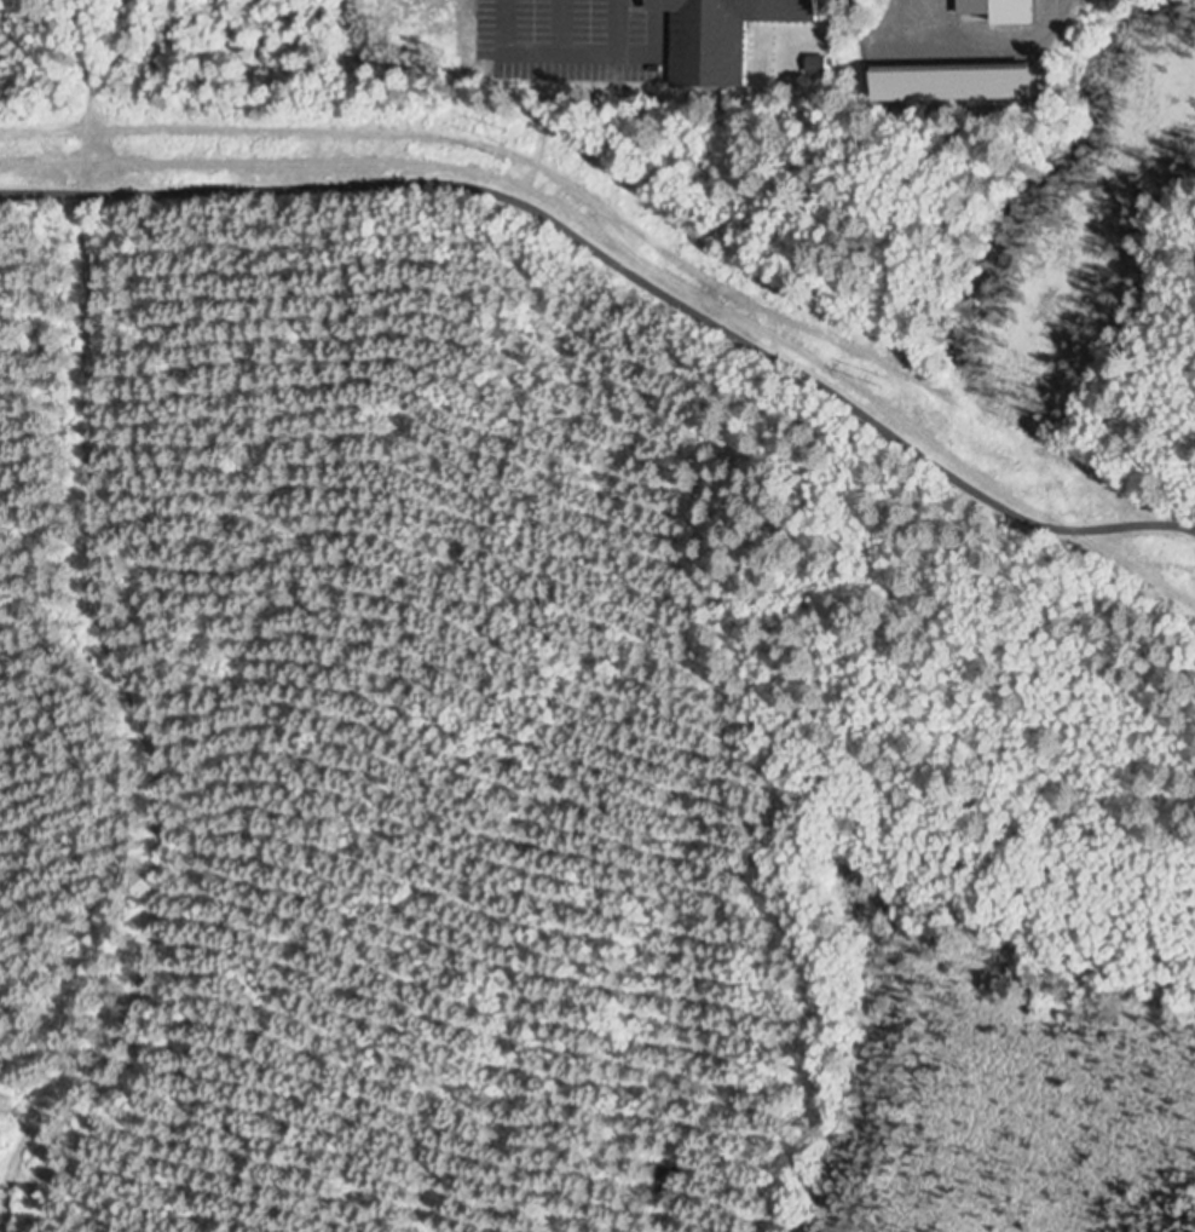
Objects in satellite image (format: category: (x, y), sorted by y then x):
building: (726, 7)
power tower: (495, 127)
road: (623, 267)
power tower: (878, 374)

